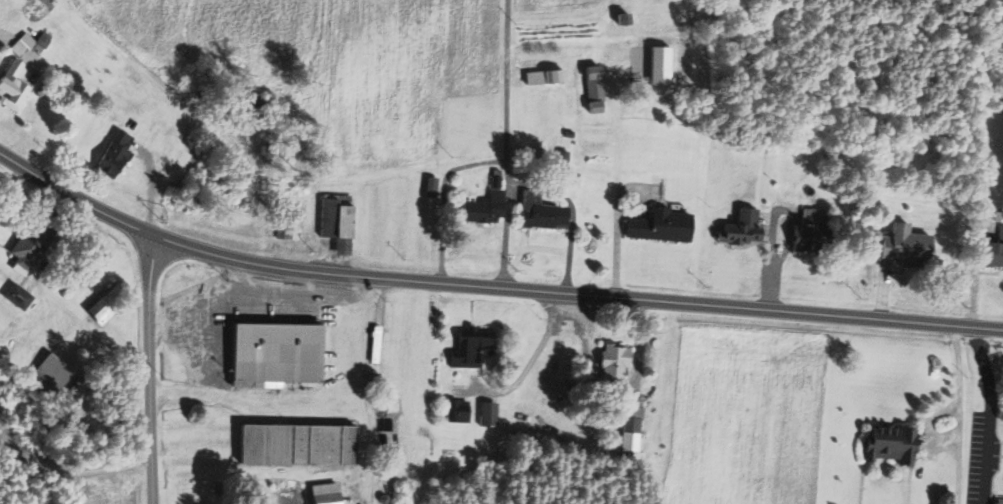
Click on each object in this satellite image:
building: (46, 1)
building: (31, 48)
building: (547, 77)
building: (16, 85)
building: (597, 89)
building: (168, 142)
road: (507, 144)
building: (116, 154)
building: (433, 187)
road: (443, 197)
building: (489, 203)
building: (543, 212)
building: (338, 219)
building: (663, 226)
building: (746, 229)
road: (774, 229)
building: (814, 230)
building: (35, 243)
building: (909, 246)
building: (996, 252)
road: (489, 287)
building: (19, 296)
building: (106, 306)
building: (474, 348)
building: (278, 355)
road: (532, 360)
building: (616, 363)
building: (55, 369)
road: (150, 371)
road: (611, 385)
road: (362, 389)
road: (257, 398)
building: (459, 411)
building: (635, 413)
road: (958, 413)
building: (489, 414)
road: (990, 415)
building: (300, 443)
building: (896, 443)
building: (329, 493)
building: (1001, 500)

